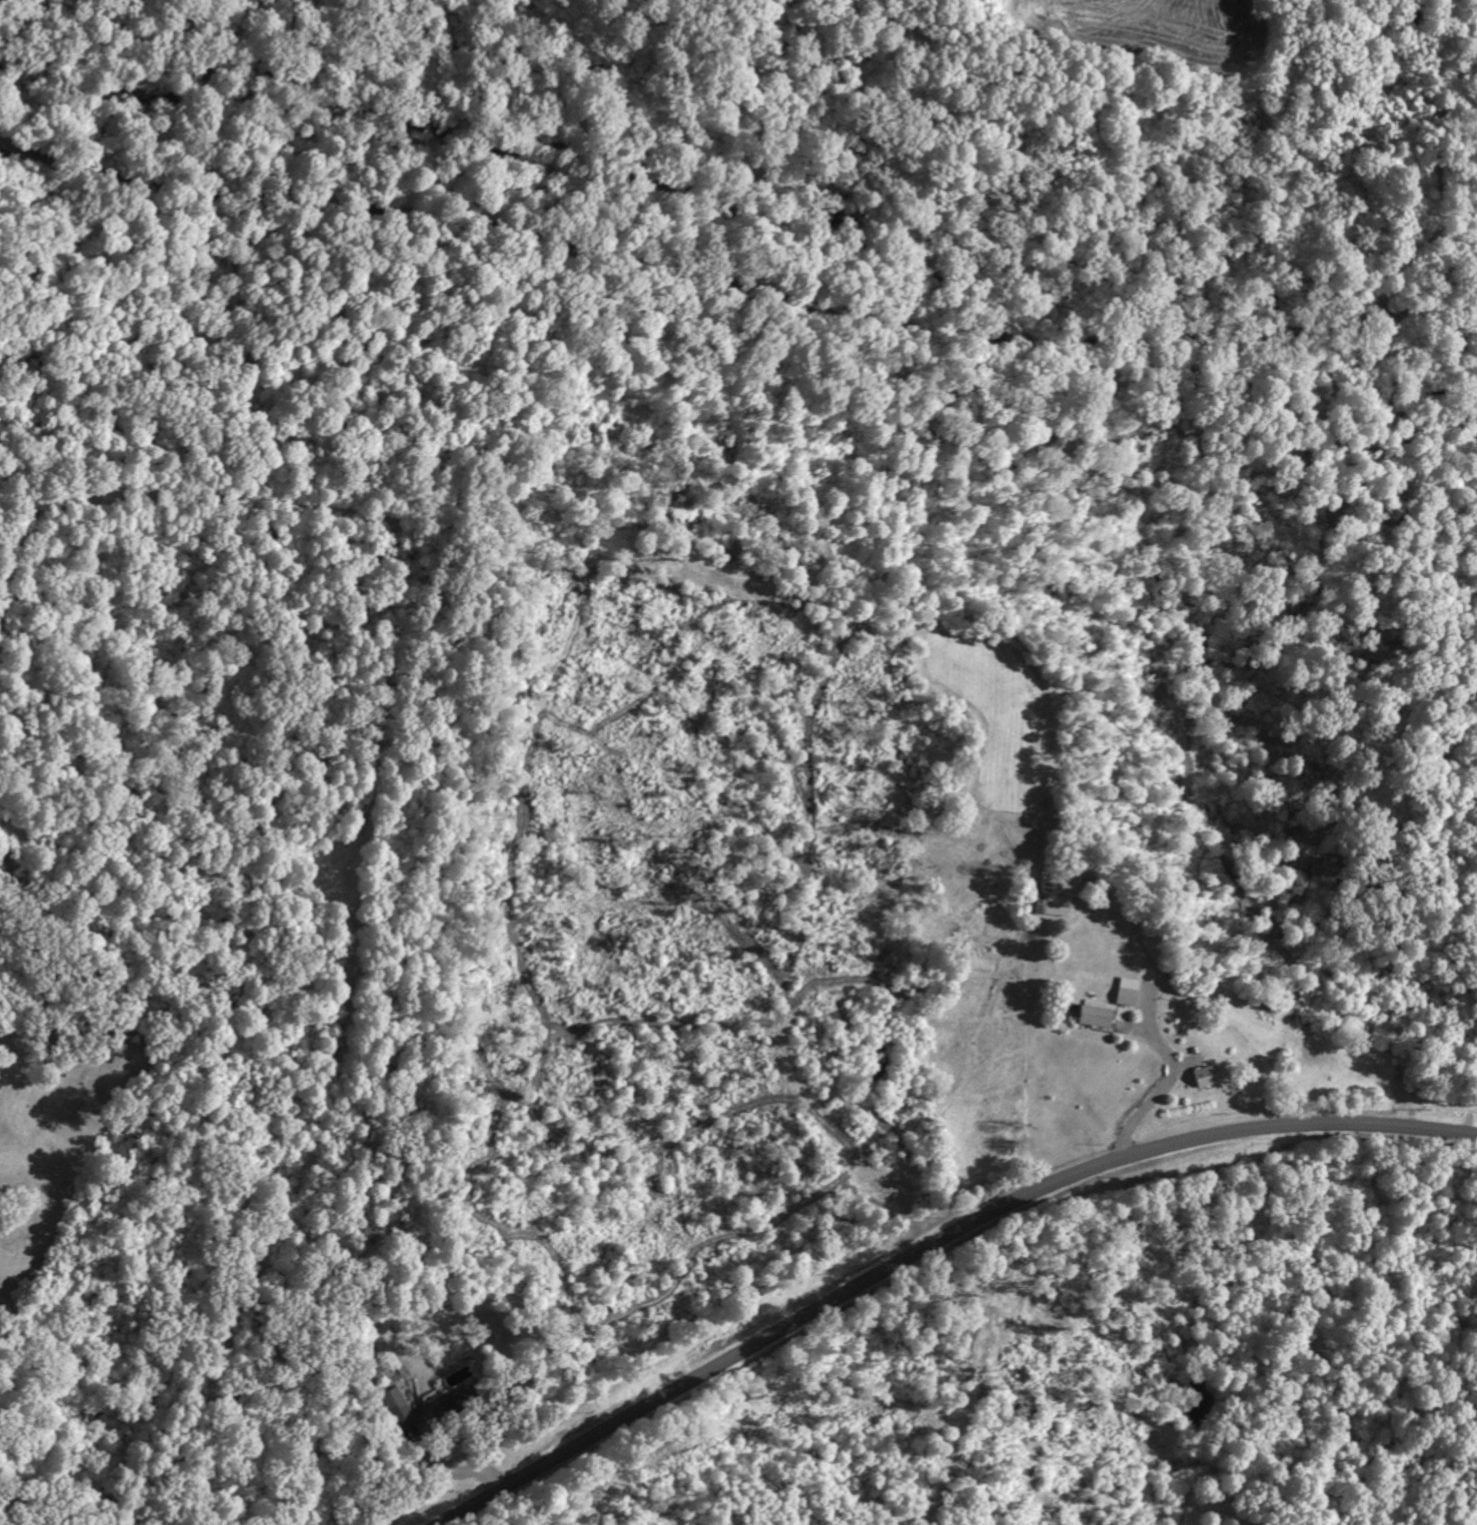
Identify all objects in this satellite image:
road: (1248, 334)
road: (1169, 1085)
park: (35, 1134)
road: (931, 1245)

